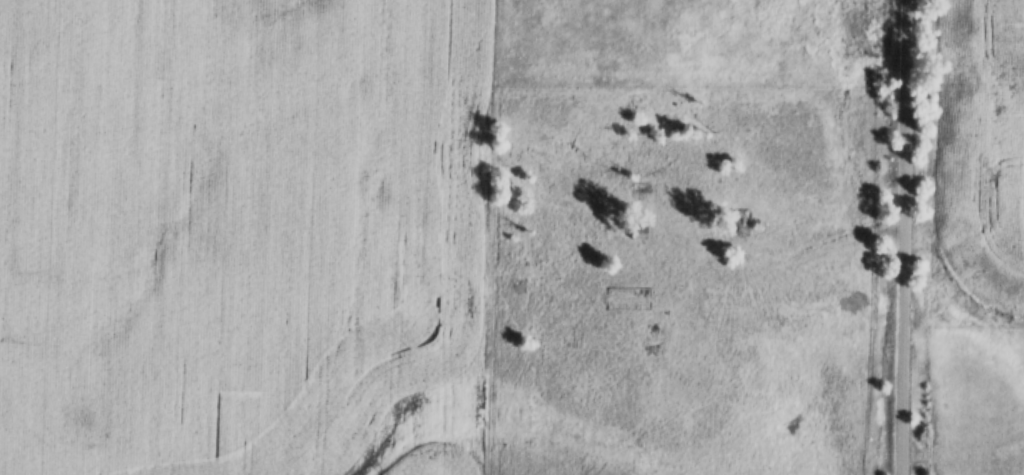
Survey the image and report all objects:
road: (905, 237)

